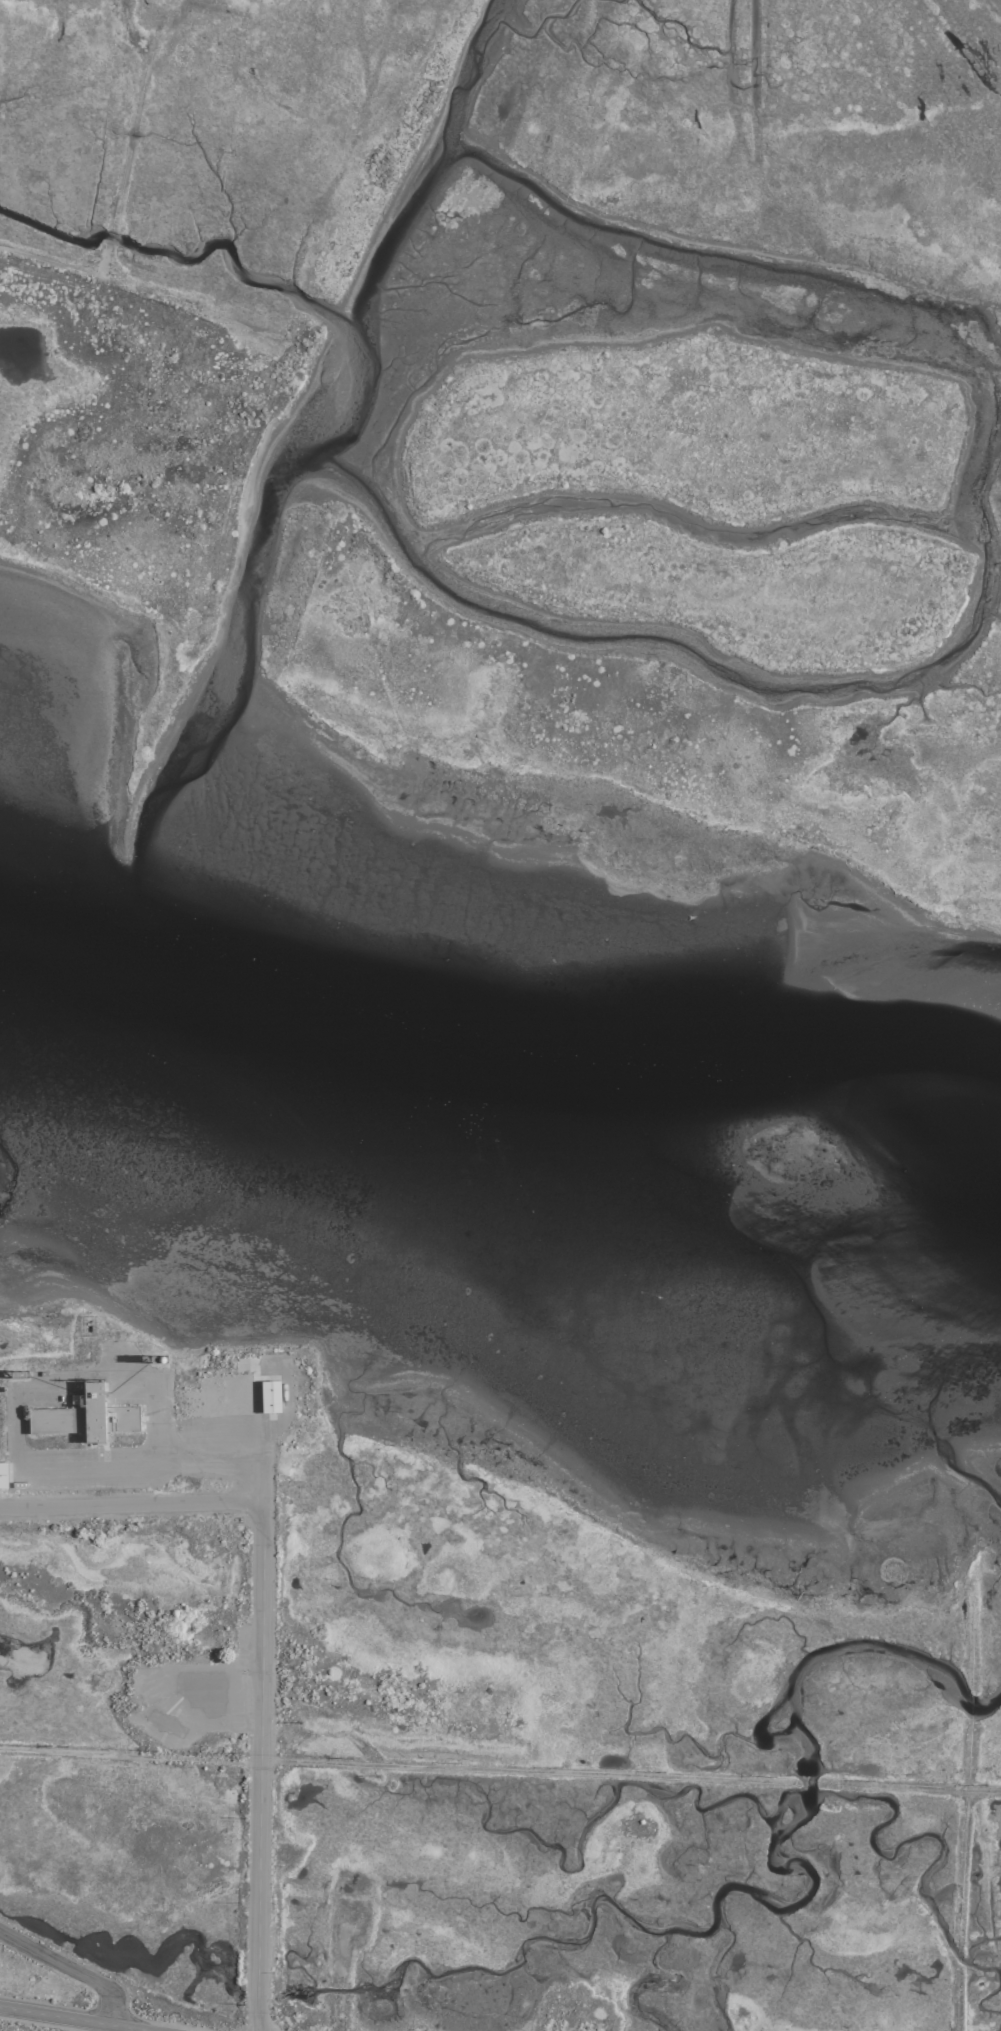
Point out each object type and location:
airport: (500, 1015)
building: (268, 1395)
building: (91, 1410)
building: (119, 1417)
building: (54, 1419)
building: (2, 1474)
road: (115, 1504)
road: (257, 1761)
road: (500, 1770)
road: (68, 1969)
road: (75, 2019)

